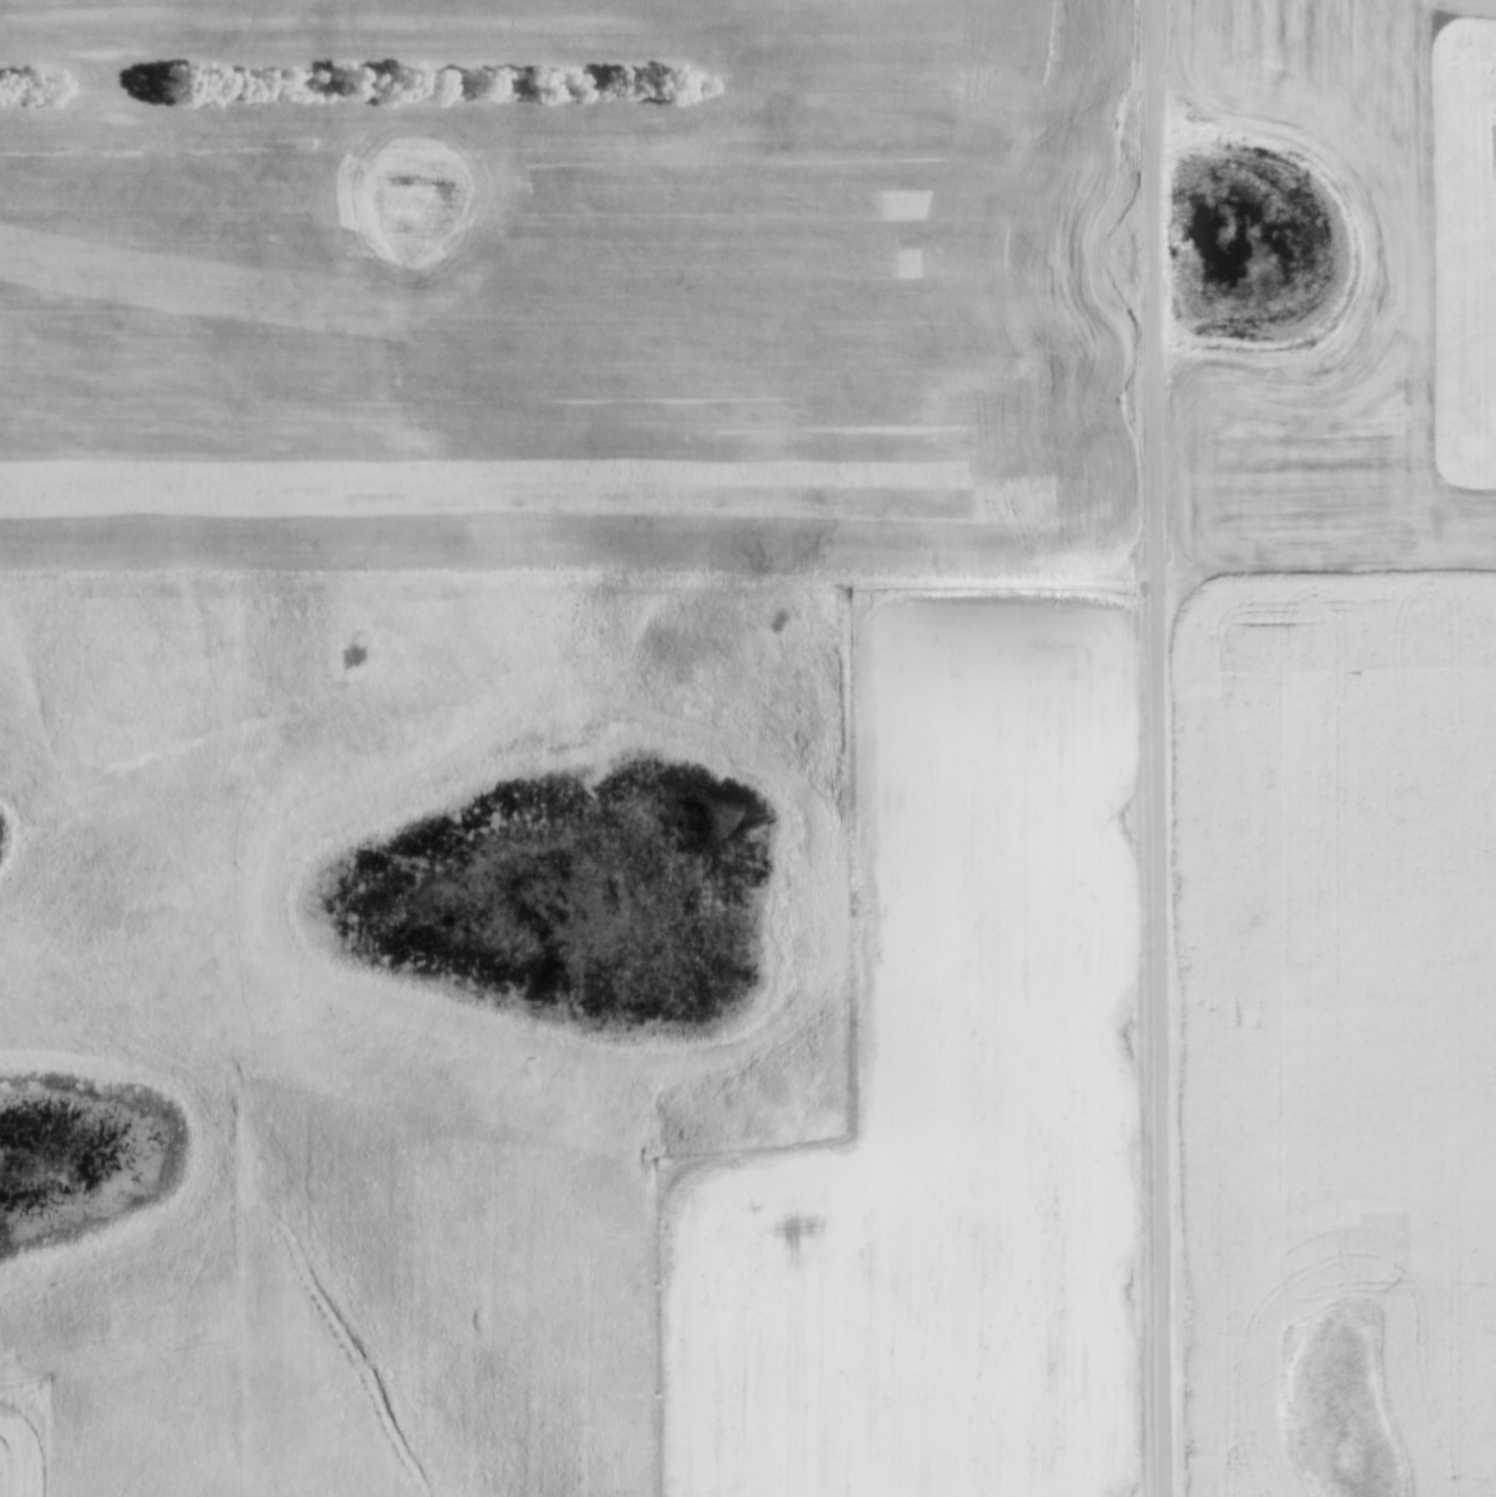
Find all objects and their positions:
road: (1161, 748)

